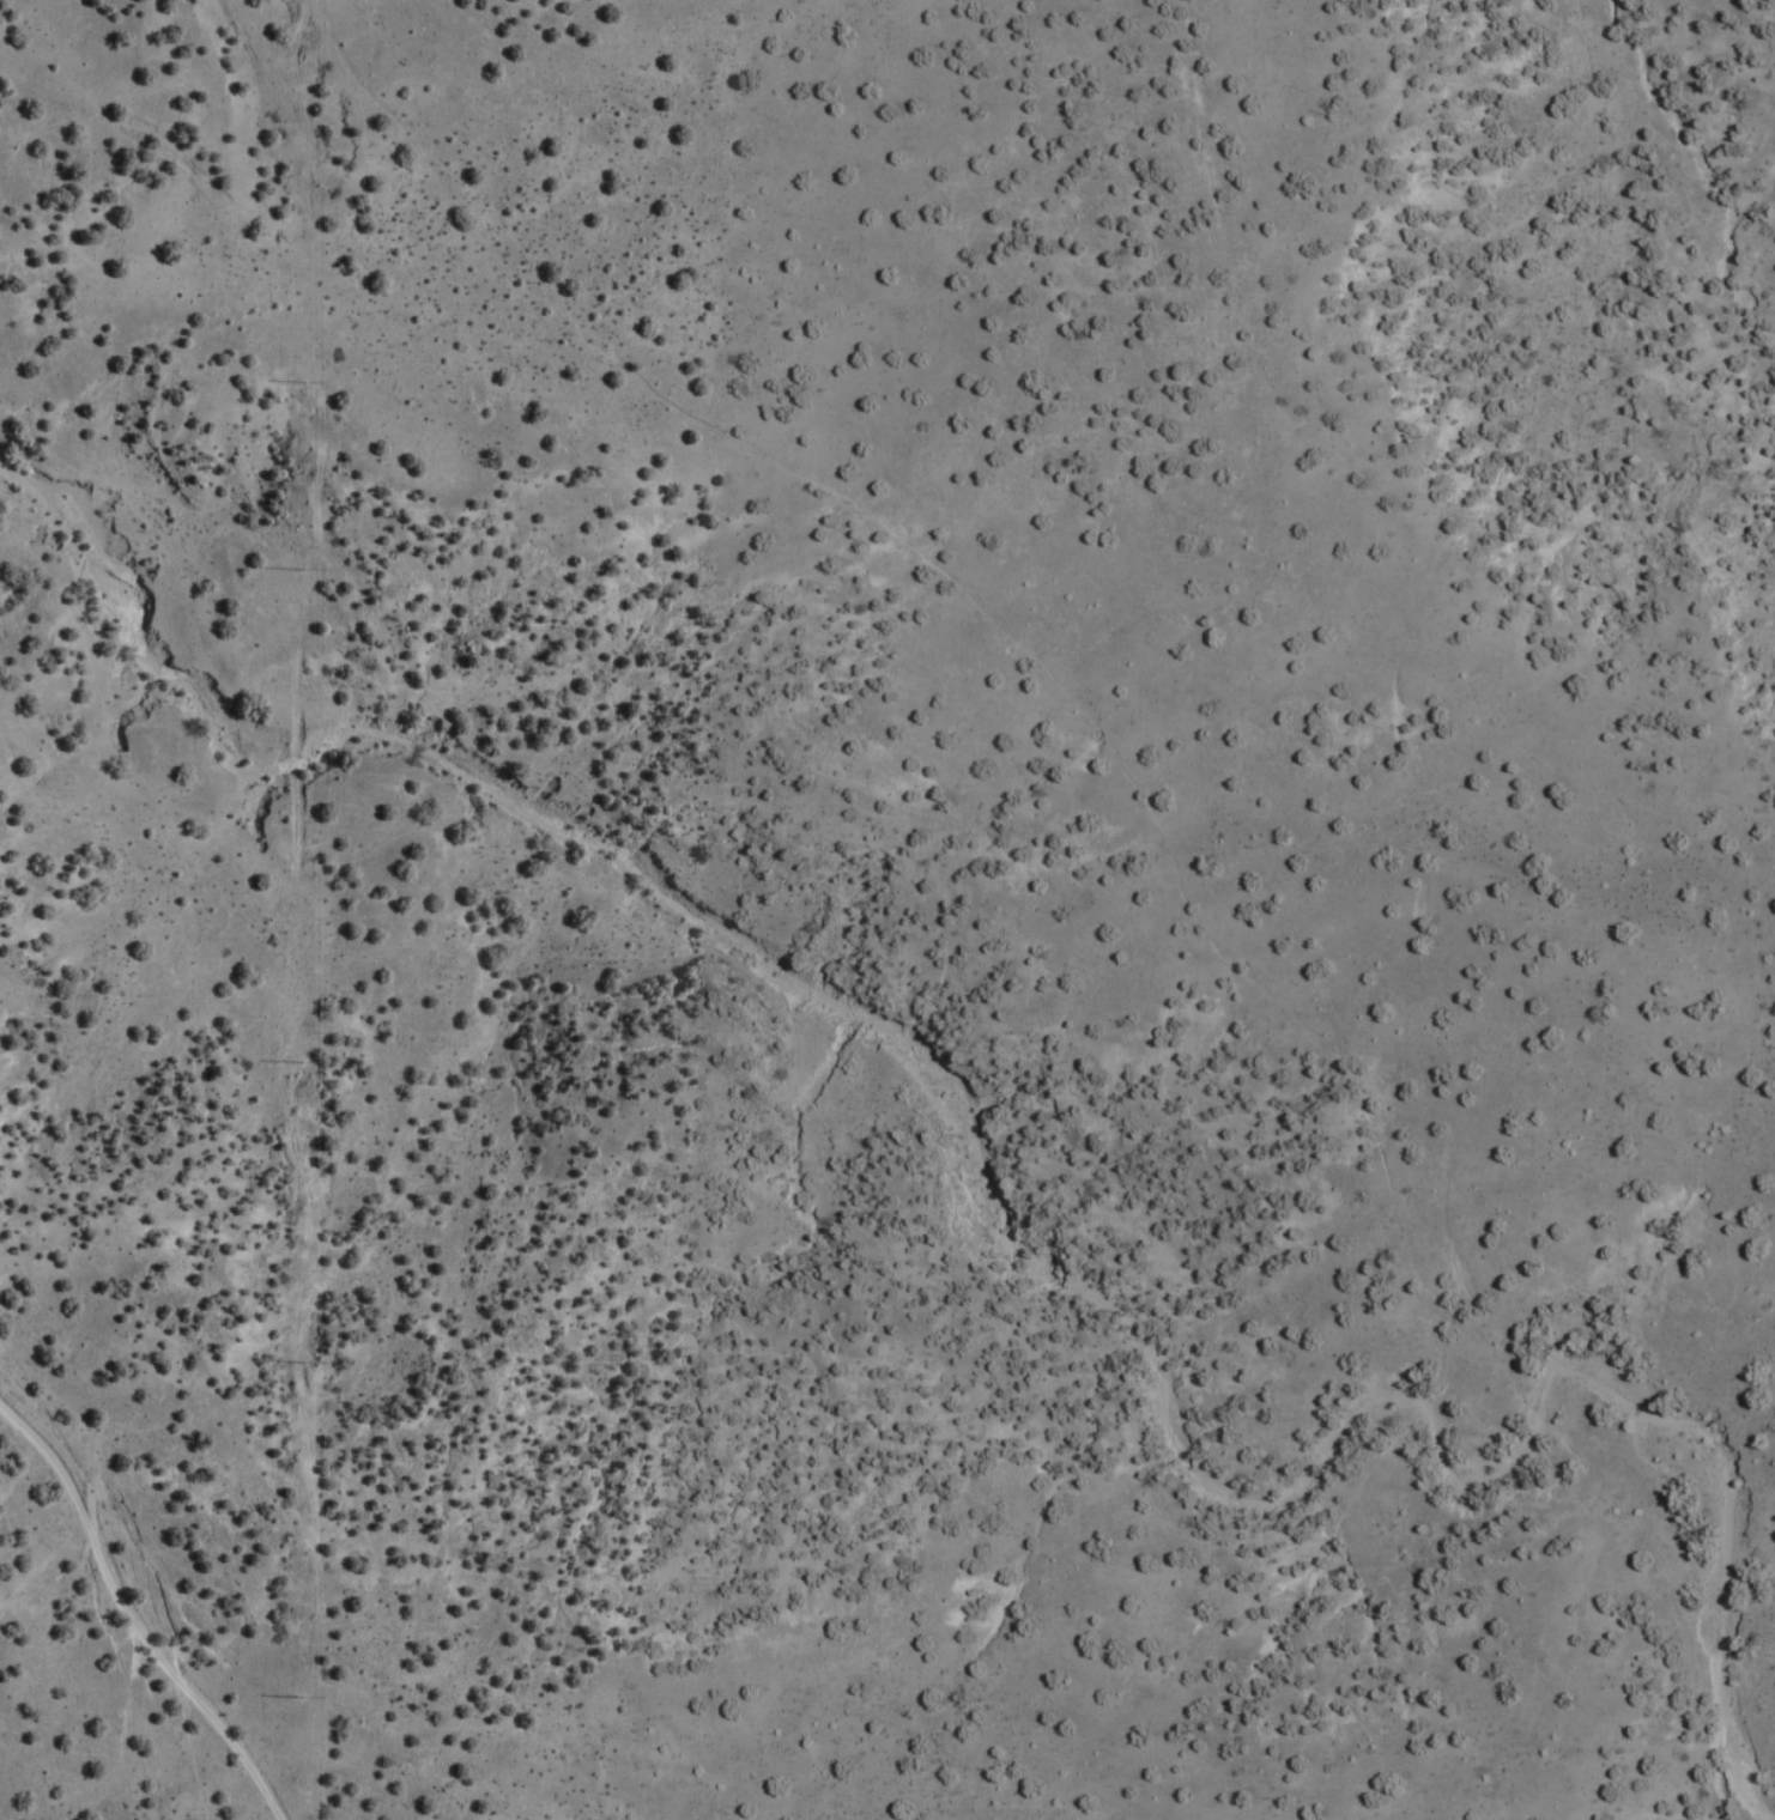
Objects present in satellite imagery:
road: (145, 1590)

